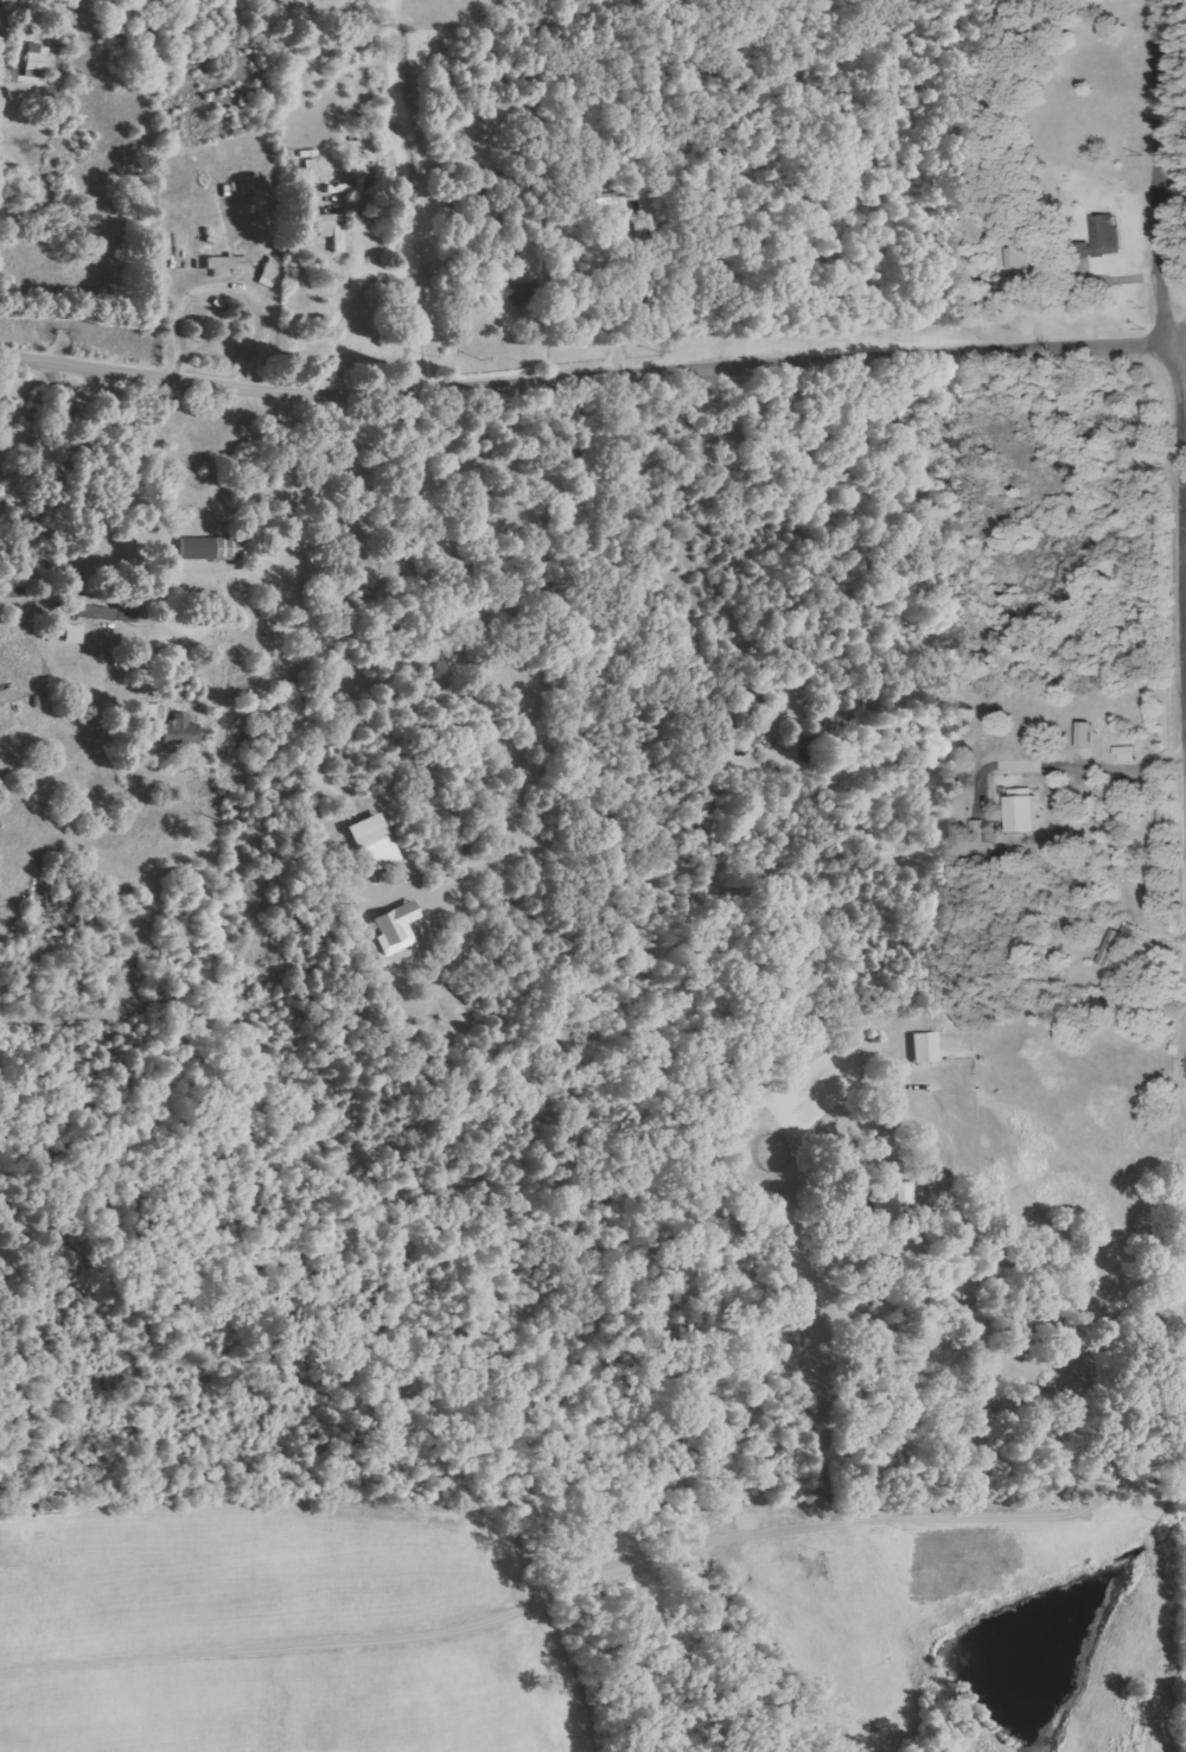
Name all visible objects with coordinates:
building: (37, 62)
road: (1158, 172)
road: (397, 196)
building: (332, 229)
building: (1104, 236)
building: (229, 265)
building: (270, 272)
building: (515, 294)
road: (1179, 329)
road: (1179, 340)
road: (585, 380)
road: (1181, 508)
building: (211, 548)
building: (85, 610)
building: (104, 612)
building: (127, 620)
building: (74, 632)
building: (157, 712)
building: (181, 731)
building: (1086, 734)
building: (1024, 809)
building: (369, 829)
building: (977, 830)
building: (396, 926)
building: (1117, 944)
building: (926, 1046)

